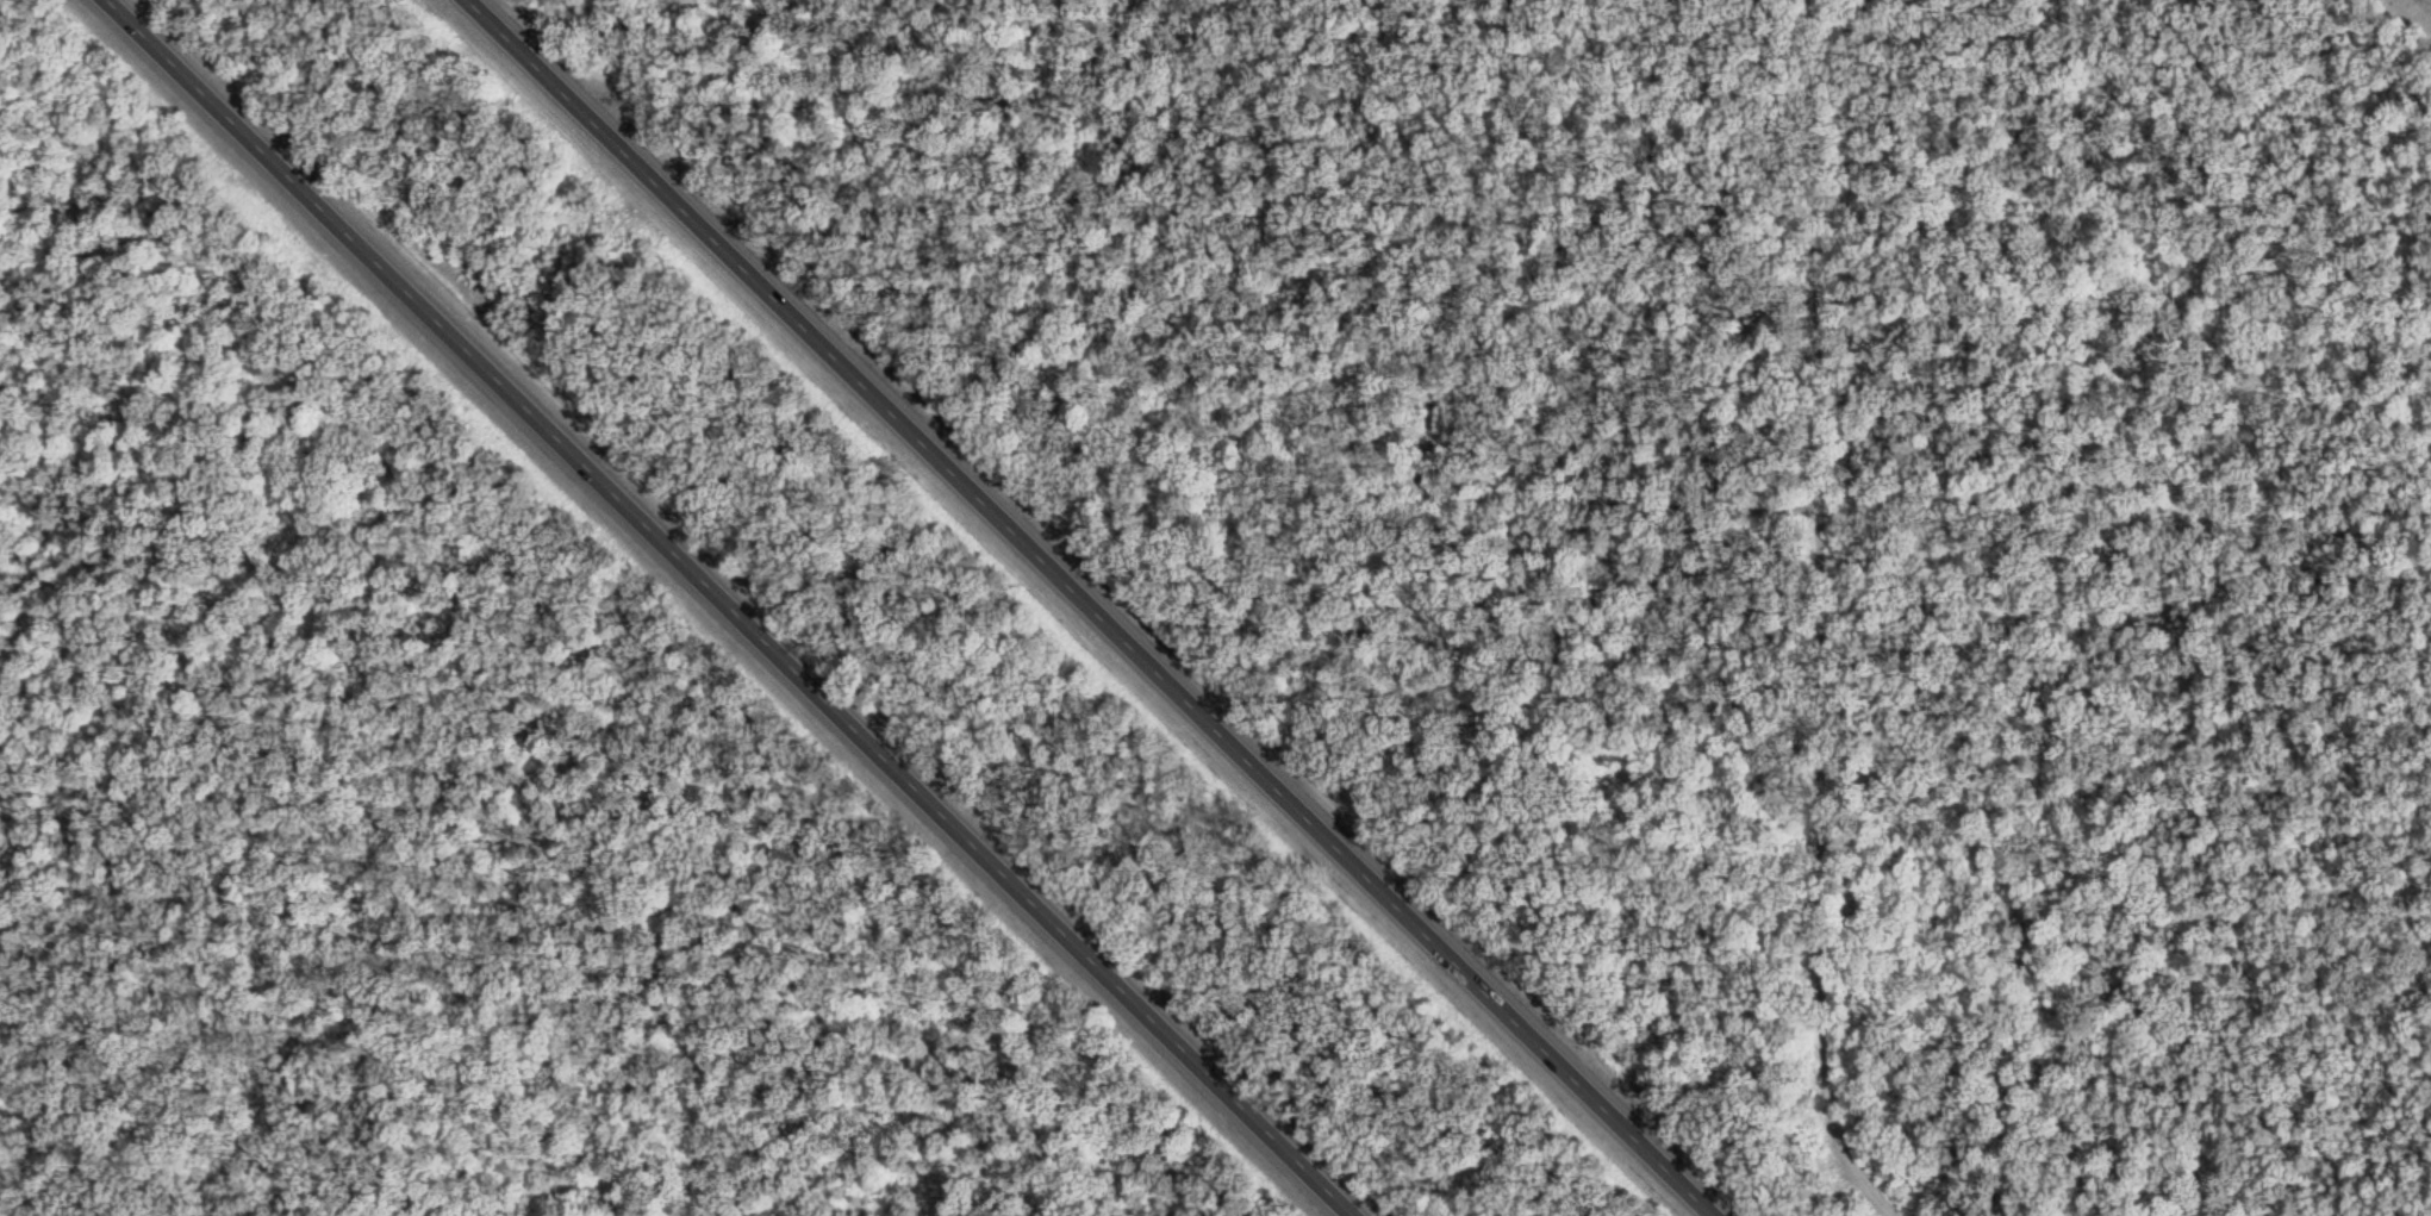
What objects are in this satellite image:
road: (187, 459)
road: (1104, 606)
road: (742, 611)
road: (1831, 617)
road: (736, 1102)
road: (1363, 1210)

